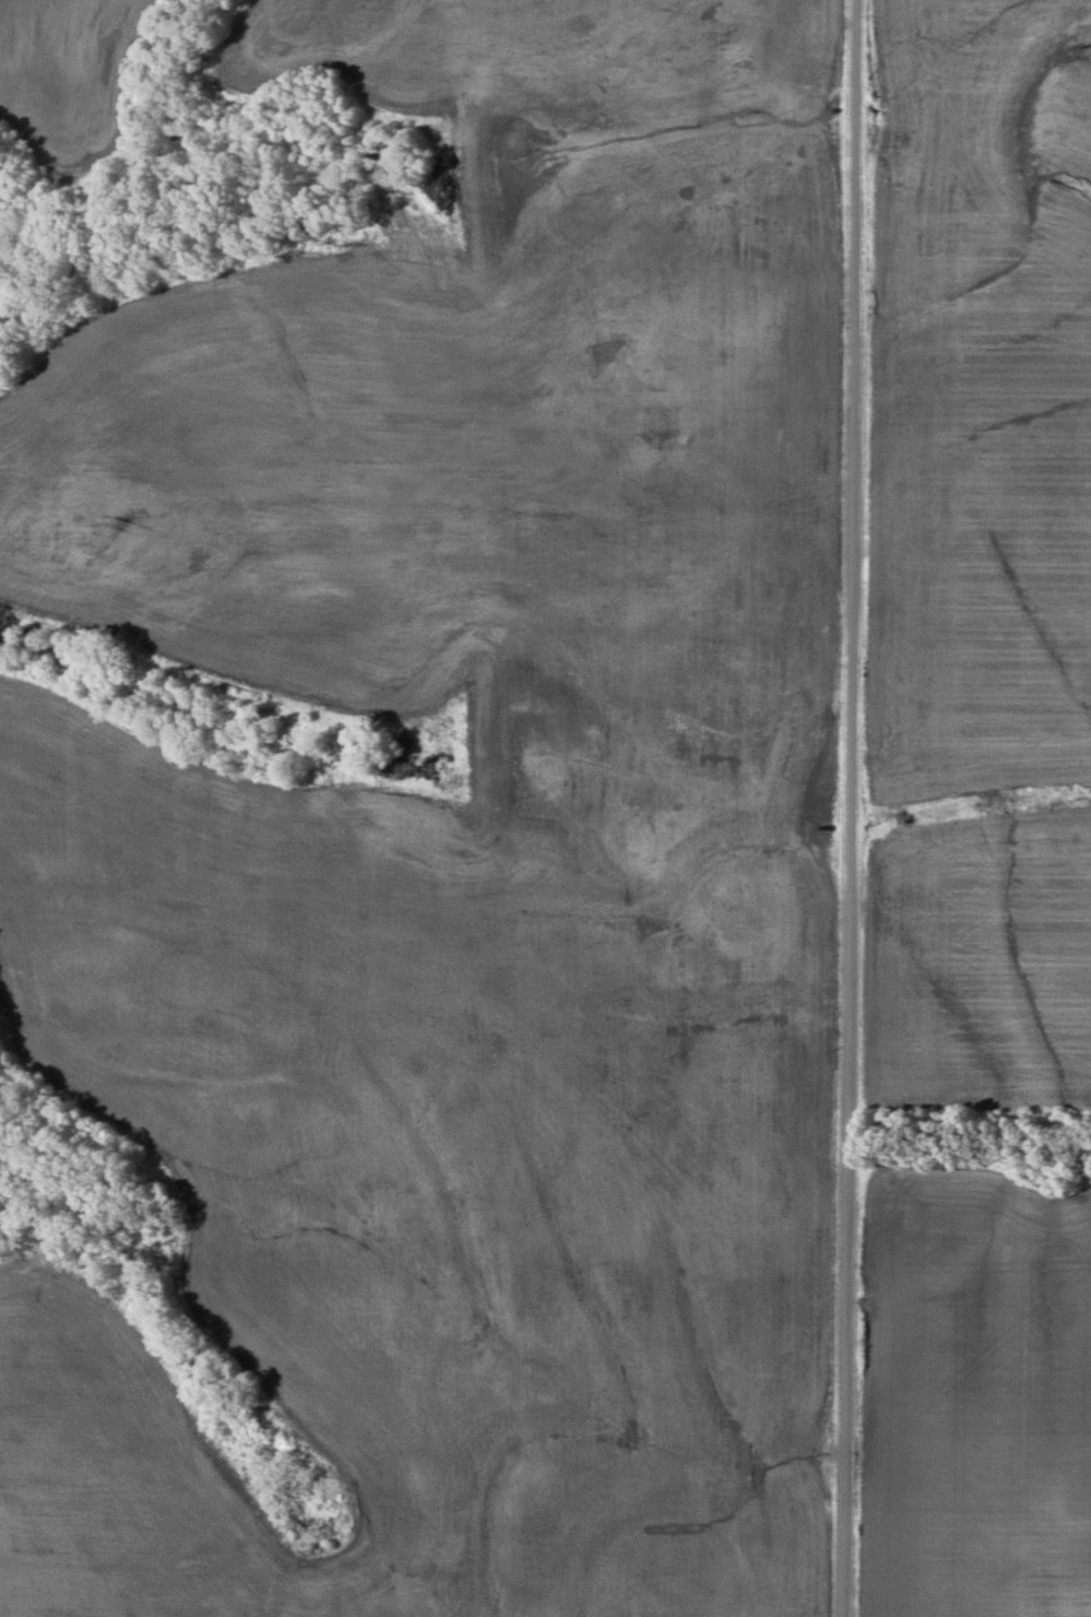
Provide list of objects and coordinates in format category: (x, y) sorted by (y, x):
road: (840, 809)

